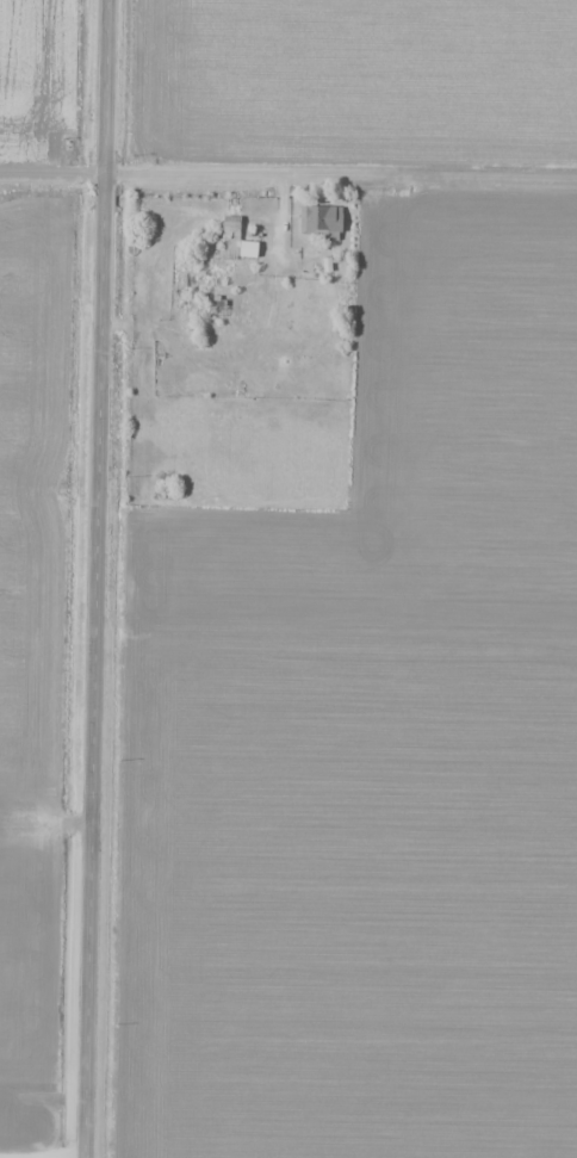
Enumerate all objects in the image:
road: (288, 177)
building: (322, 221)
building: (238, 240)
road: (92, 578)
building: (18, 822)

